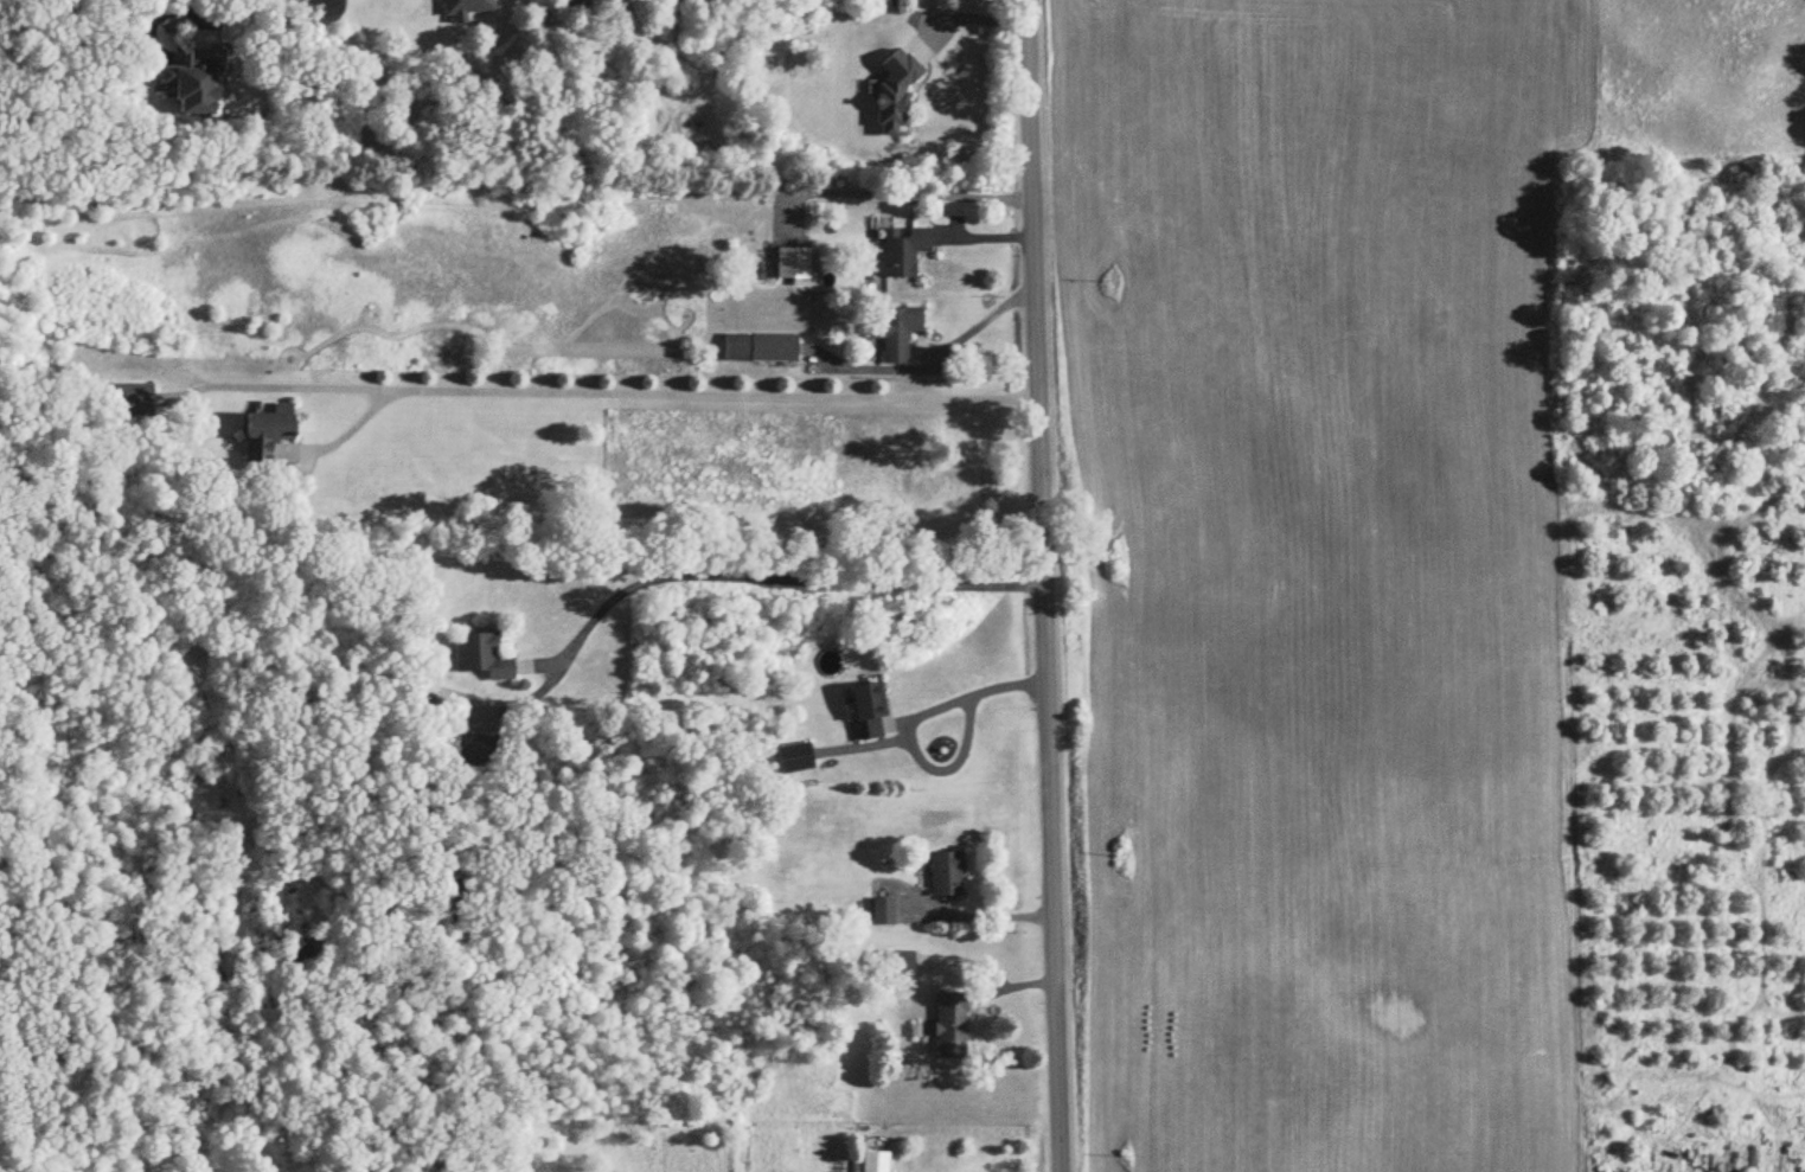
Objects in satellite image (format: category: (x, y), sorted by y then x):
building: (435, 0)
building: (576, 4)
road: (241, 7)
building: (467, 9)
road: (965, 19)
building: (197, 85)
building: (896, 95)
road: (903, 197)
building: (904, 251)
building: (794, 265)
road: (977, 327)
building: (897, 334)
building: (762, 350)
road: (293, 391)
road: (654, 395)
building: (132, 401)
building: (267, 433)
building: (934, 527)
road: (774, 578)
road: (1044, 585)
building: (482, 657)
building: (869, 710)
road: (905, 725)
building: (479, 751)
building: (795, 758)
building: (947, 875)
building: (882, 912)
road: (975, 917)
building: (895, 965)
road: (988, 971)
building: (952, 1024)
building: (875, 1161)

